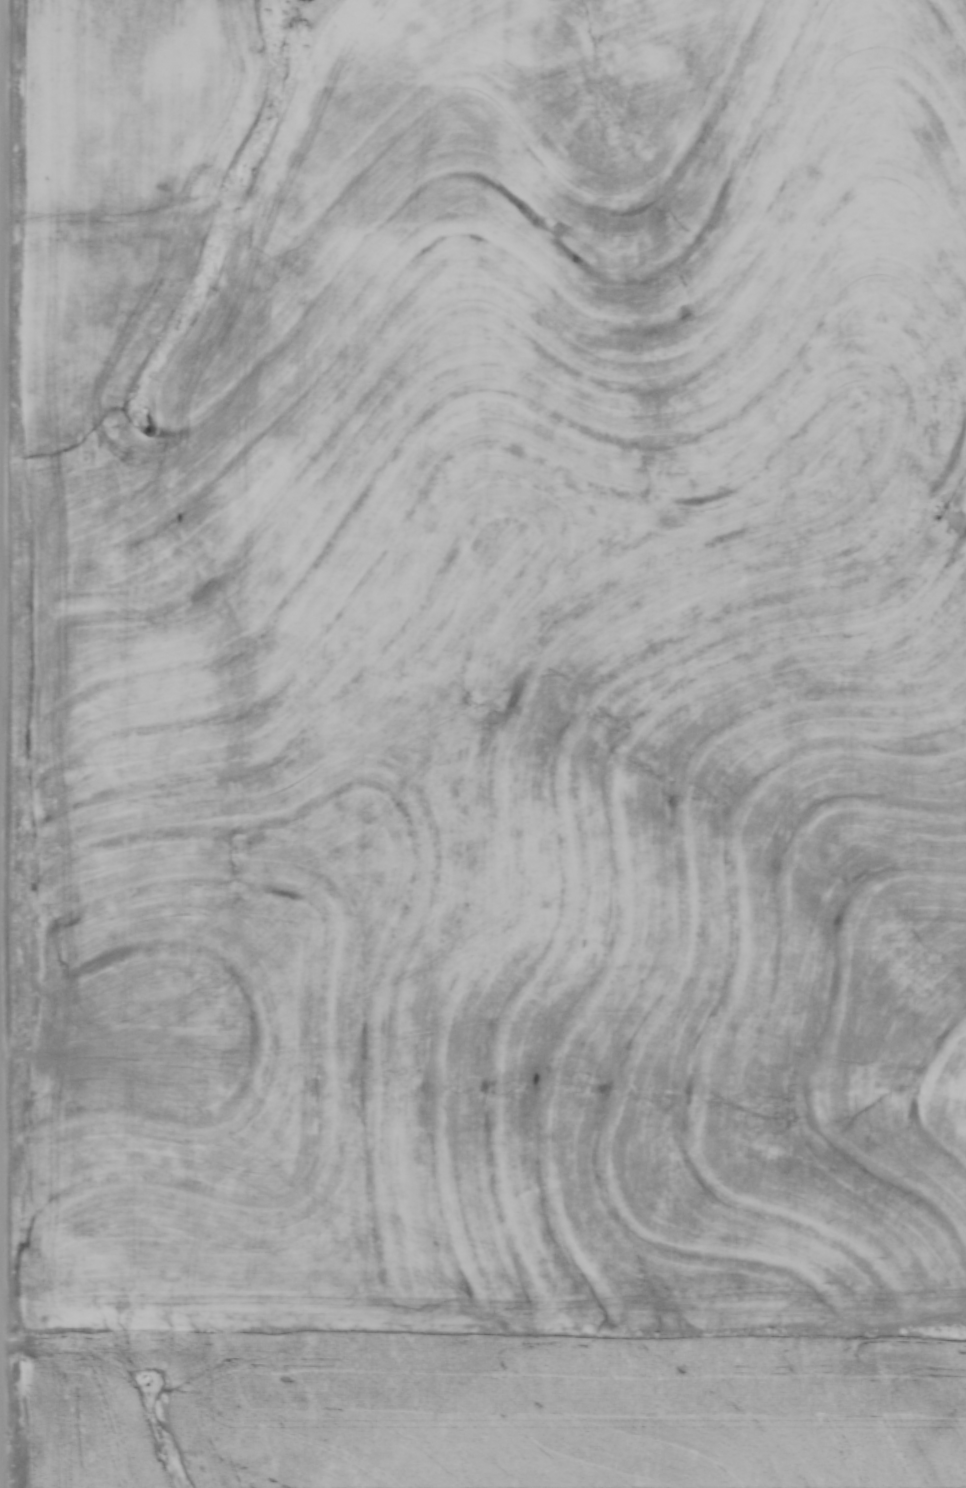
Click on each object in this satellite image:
road: (1, 89)
road: (0, 744)

